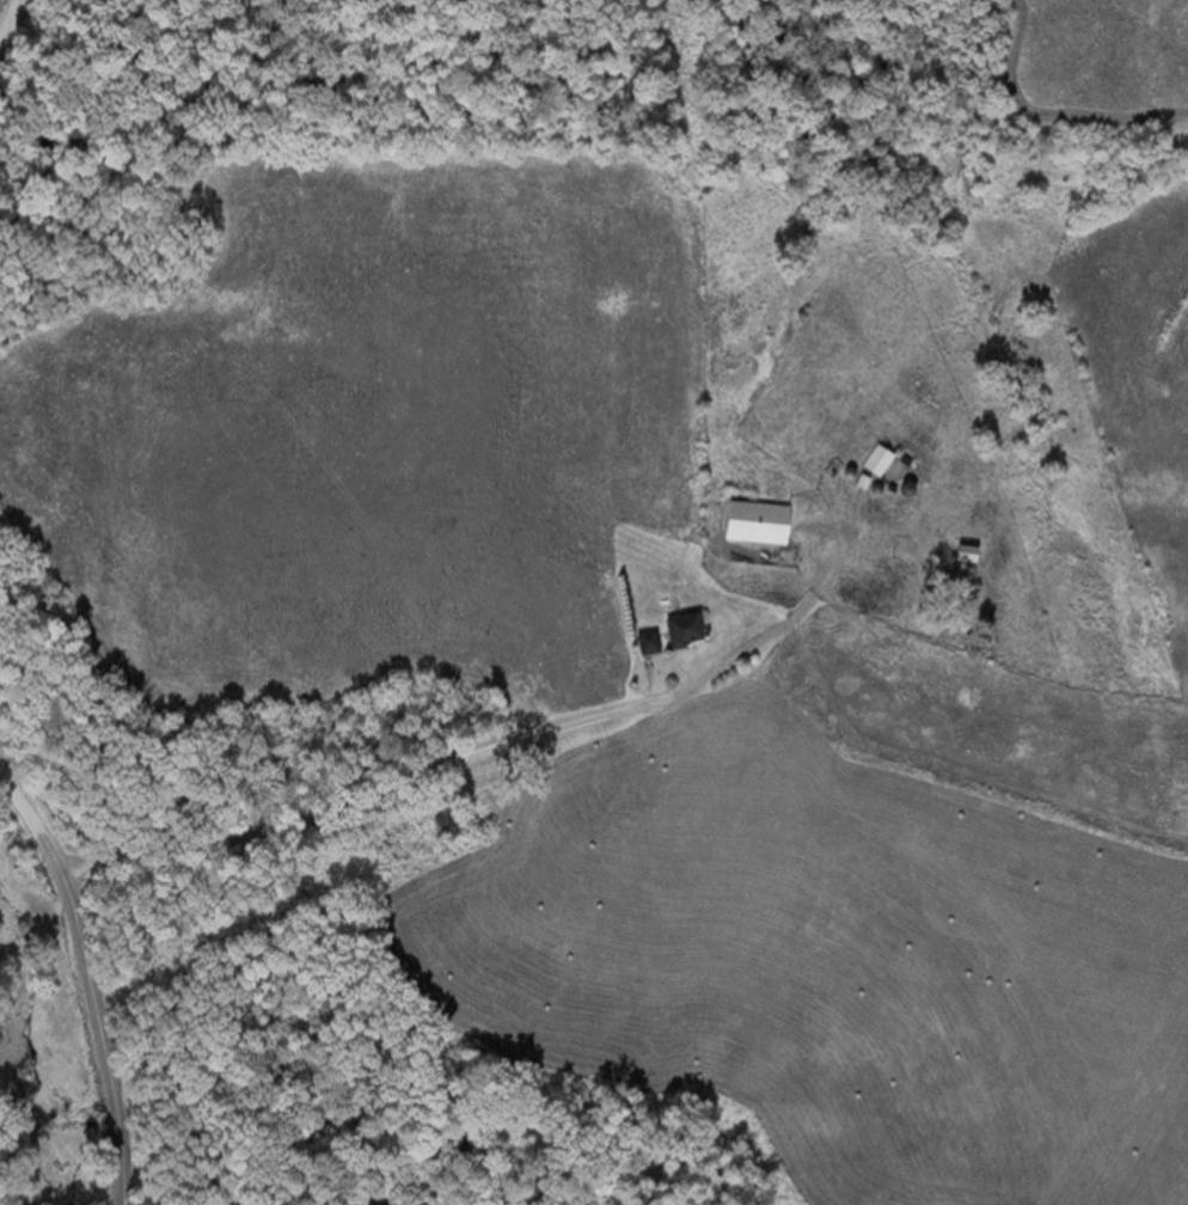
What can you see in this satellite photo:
road: (19, 30)
building: (877, 460)
building: (753, 522)
building: (962, 553)
building: (681, 630)
building: (645, 643)
road: (501, 751)
road: (86, 975)

